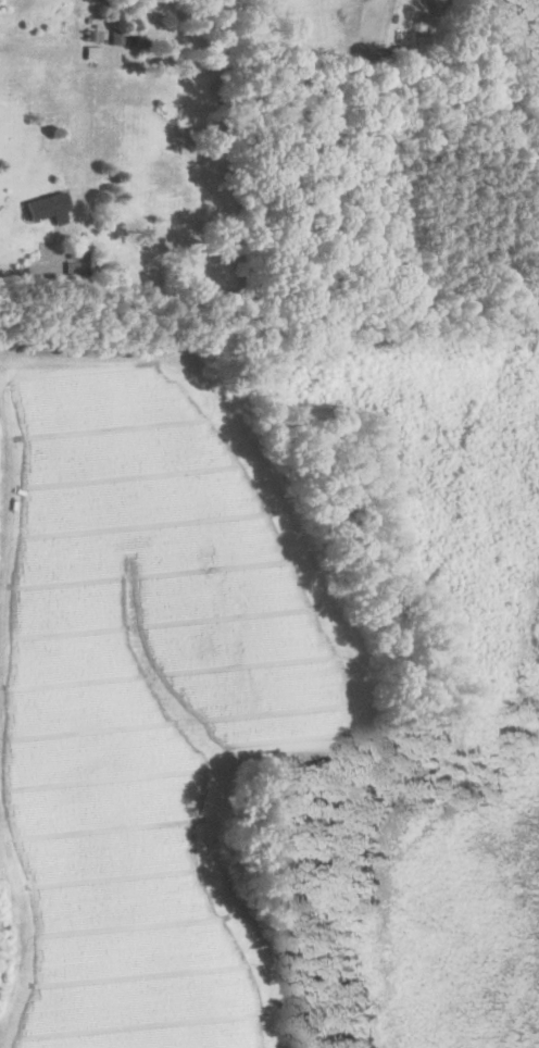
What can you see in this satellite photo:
building: (91, 34)
building: (114, 37)
building: (89, 52)
building: (47, 208)
road: (23, 271)

